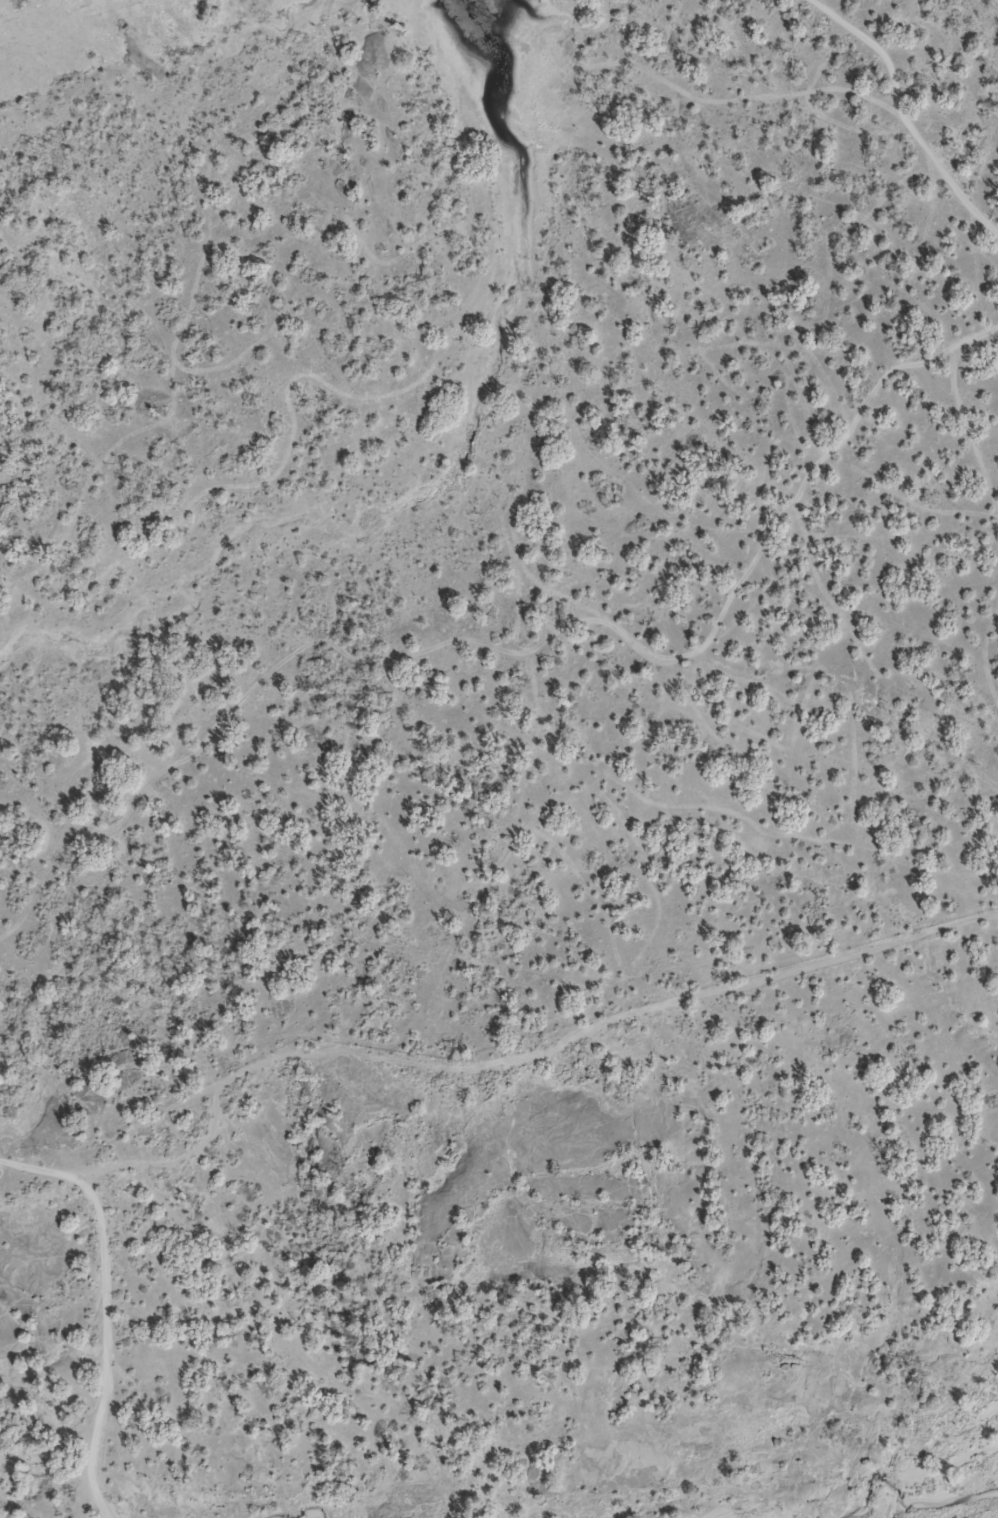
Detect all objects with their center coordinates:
road: (897, 115)
road: (104, 1308)

